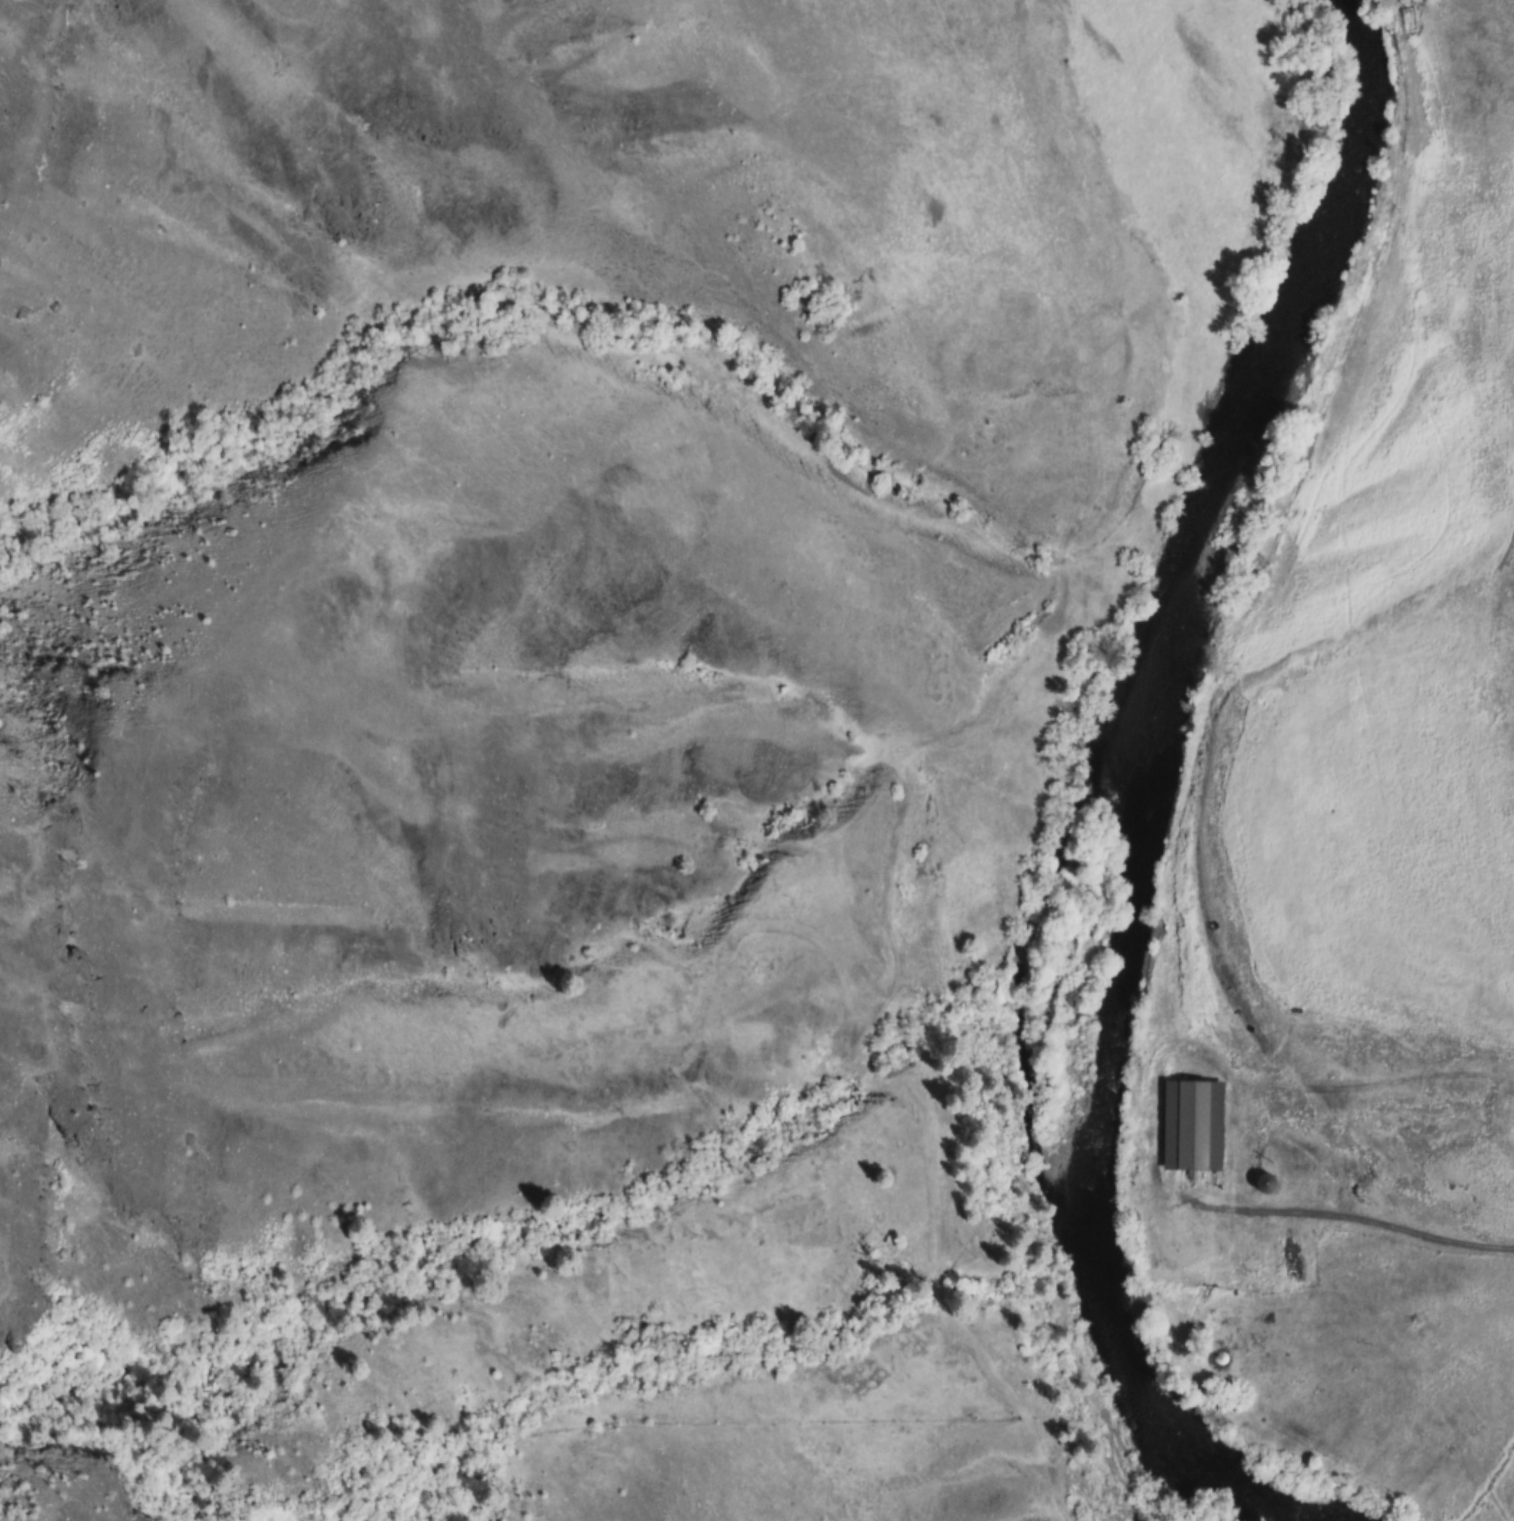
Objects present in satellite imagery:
river: (1135, 777)
building: (1191, 1127)
building: (1264, 1184)
building: (1289, 1261)

